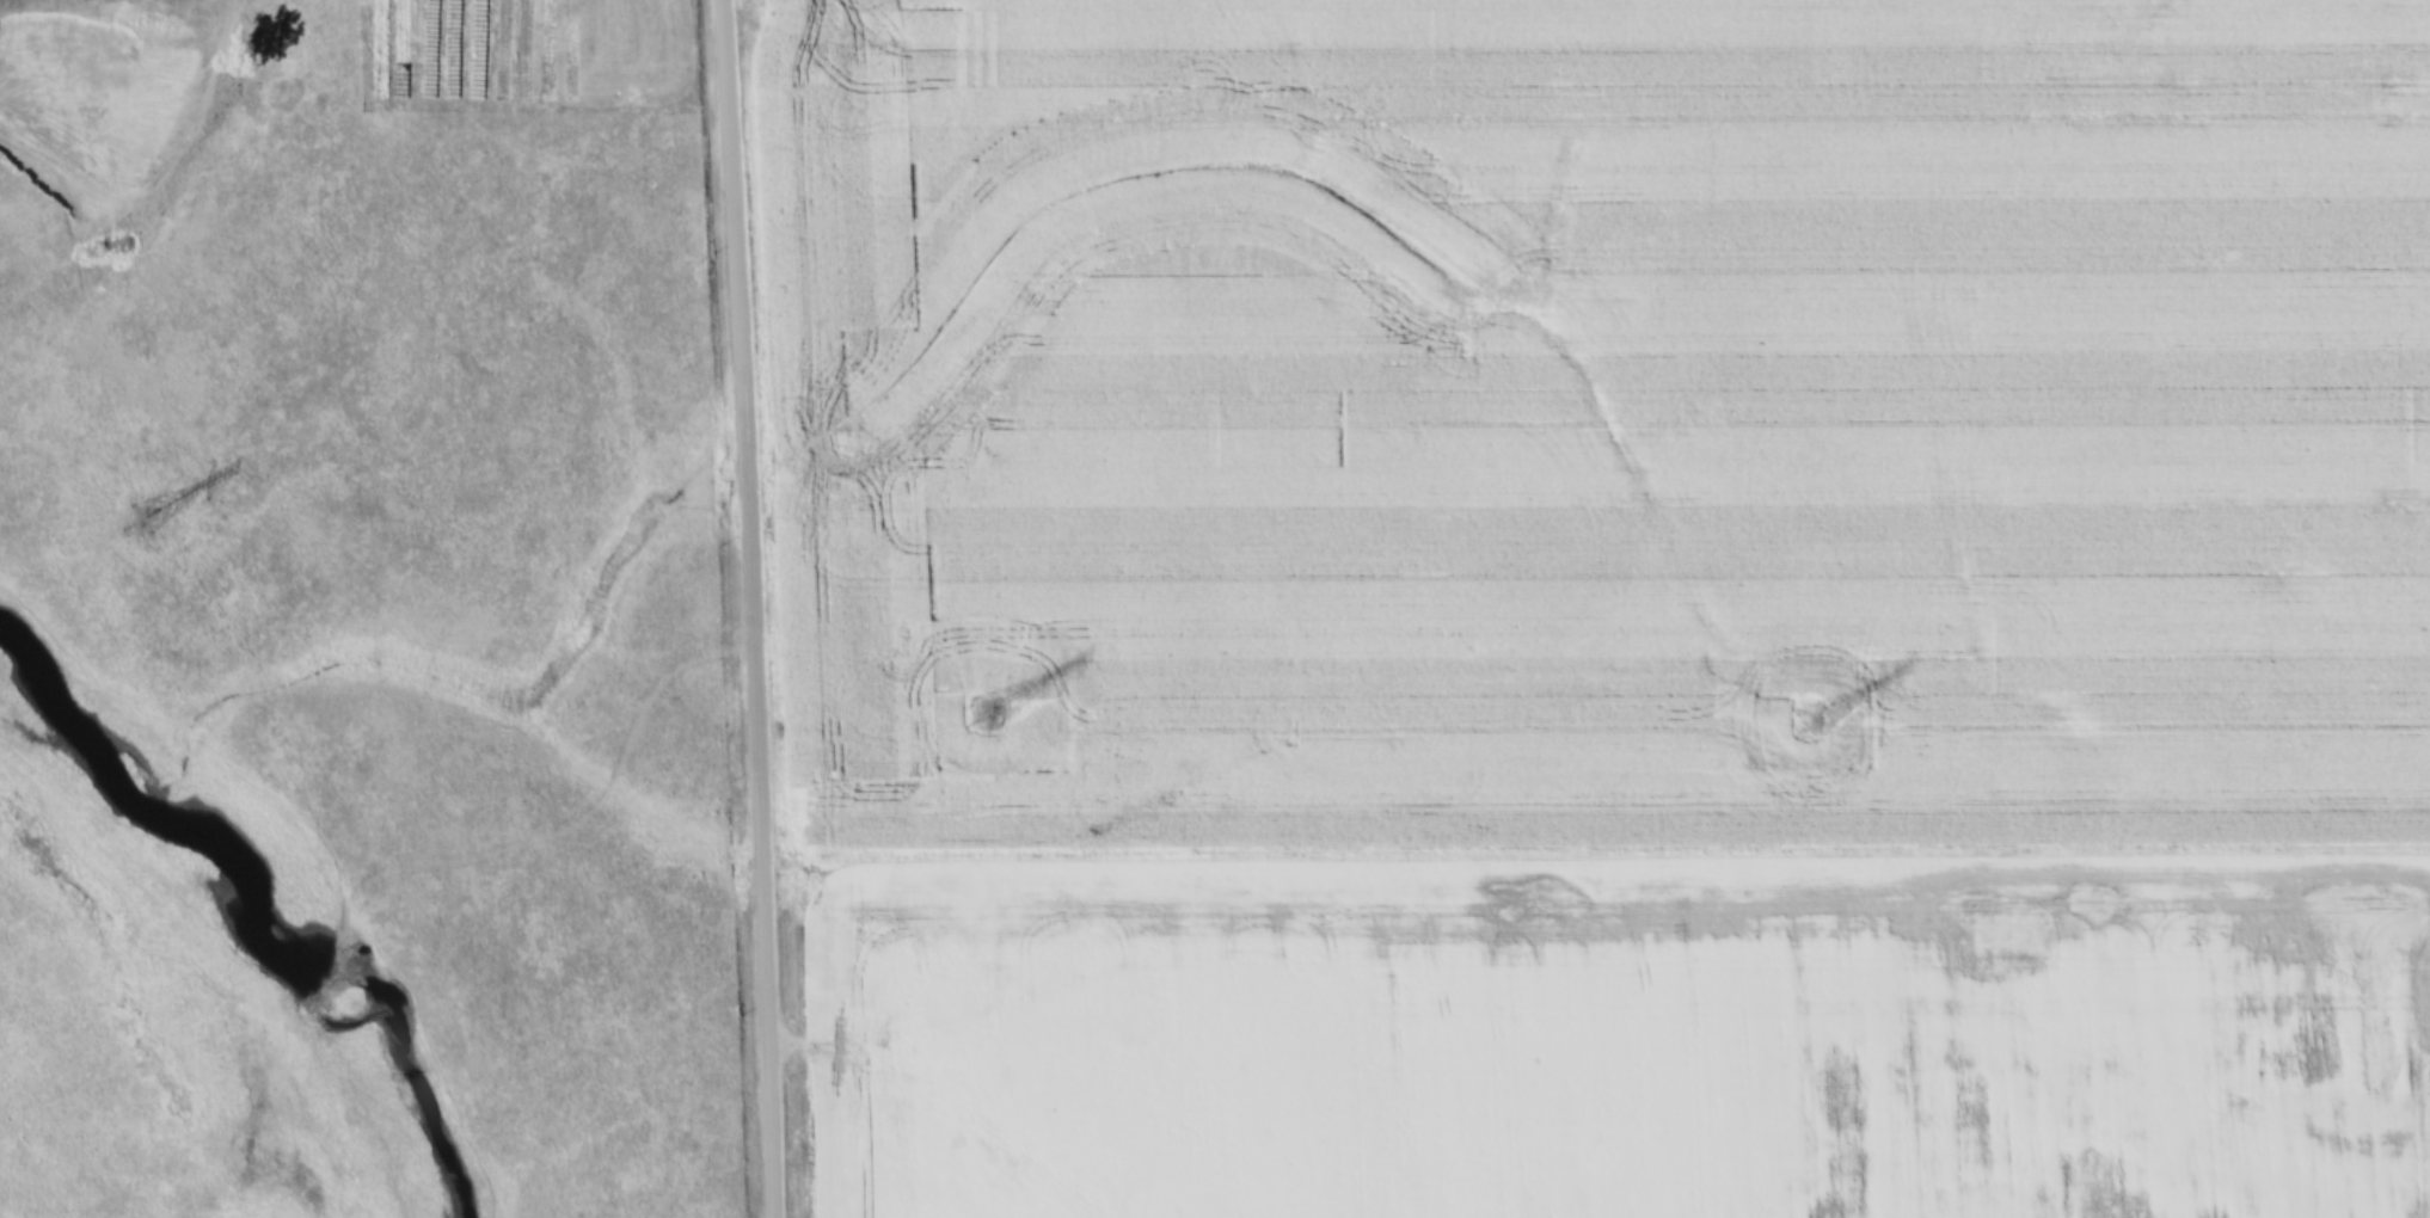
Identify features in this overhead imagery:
power tower: (154, 537)
road: (753, 608)
power tower: (978, 712)
power tower: (1817, 712)

